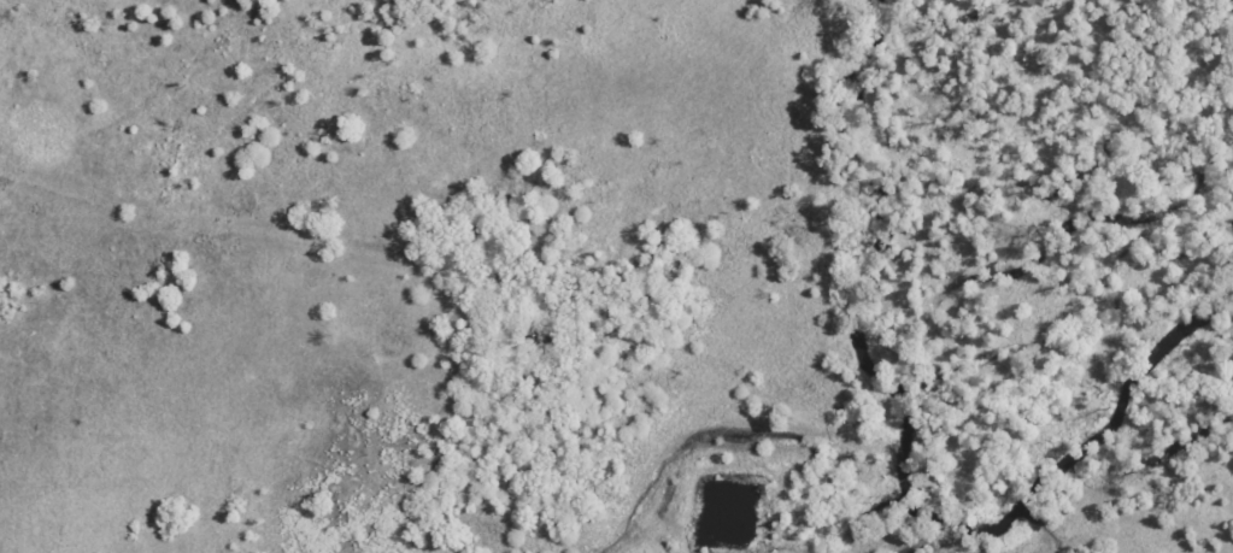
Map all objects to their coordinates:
road: (202, 133)

